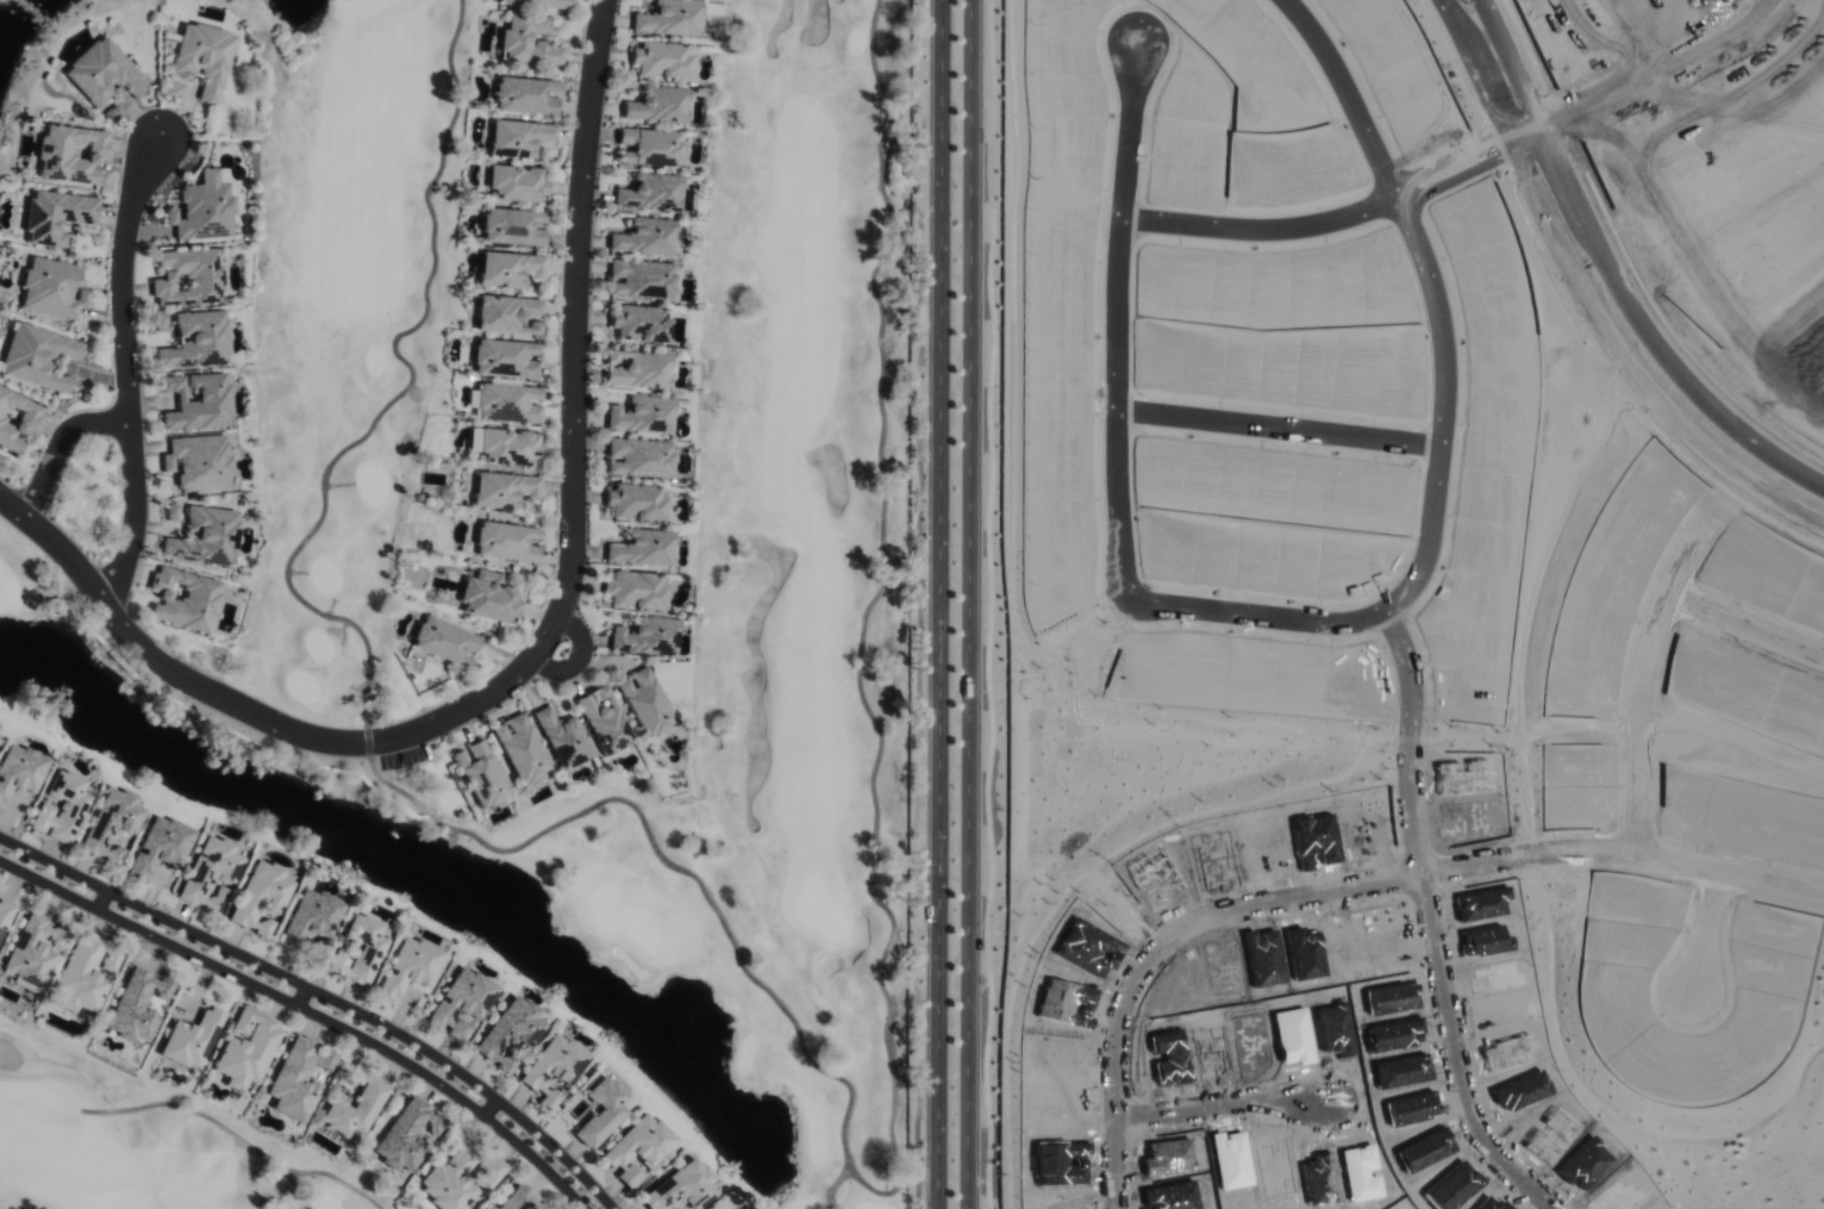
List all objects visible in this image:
building: (537, 2)
building: (668, 18)
park: (23, 39)
building: (526, 40)
building: (201, 57)
building: (661, 60)
building: (101, 71)
building: (173, 87)
building: (526, 95)
building: (658, 105)
building: (519, 137)
building: (650, 147)
building: (70, 152)
building: (517, 183)
building: (650, 192)
building: (204, 207)
building: (56, 214)
road: (1343, 220)
building: (512, 226)
building: (645, 236)
building: (508, 268)
building: (187, 276)
road: (1613, 278)
building: (641, 279)
building: (52, 288)
road: (1585, 304)
building: (508, 314)
building: (639, 324)
building: (195, 341)
building: (38, 356)
building: (505, 359)
building: (639, 369)
road: (127, 372)
building: (198, 401)
building: (505, 403)
building: (642, 415)
building: (17, 418)
road: (1278, 431)
road: (61, 444)
building: (504, 445)
building: (639, 457)
building: (199, 462)
building: (502, 490)
building: (635, 501)
building: (171, 512)
building: (205, 536)
building: (507, 541)
building: (641, 548)
building: (633, 590)
building: (488, 597)
building: (183, 599)
road: (939, 604)
road: (973, 604)
park: (800, 605)
road: (1320, 623)
road: (1749, 628)
building: (644, 636)
building: (445, 641)
road: (1659, 641)
road: (539, 649)
road: (582, 661)
building: (645, 702)
building: (604, 719)
building: (562, 739)
road: (1410, 740)
building: (519, 748)
building: (18, 769)
building: (480, 774)
building: (60, 808)
building: (111, 824)
building: (161, 846)
road: (1625, 852)
building: (208, 873)
building: (258, 896)
road: (102, 900)
building: (5, 915)
building: (310, 917)
road: (1719, 935)
building: (33, 949)
building: (357, 951)
road: (1169, 951)
building: (110, 959)
building: (407, 967)
building: (82, 976)
road: (300, 997)
road: (323, 997)
building: (461, 1003)
building: (136, 1004)
road: (307, 1011)
building: (508, 1033)
building: (189, 1040)
building: (244, 1049)
road: (1463, 1057)
building: (554, 1068)
building: (296, 1078)
road: (1233, 1101)
building: (354, 1104)
road: (489, 1109)
building: (601, 1111)
building: (407, 1134)
park: (144, 1145)
building: (638, 1148)
building: (488, 1171)
building: (449, 1180)
building: (680, 1188)
building: (520, 1199)
building: (719, 1208)

